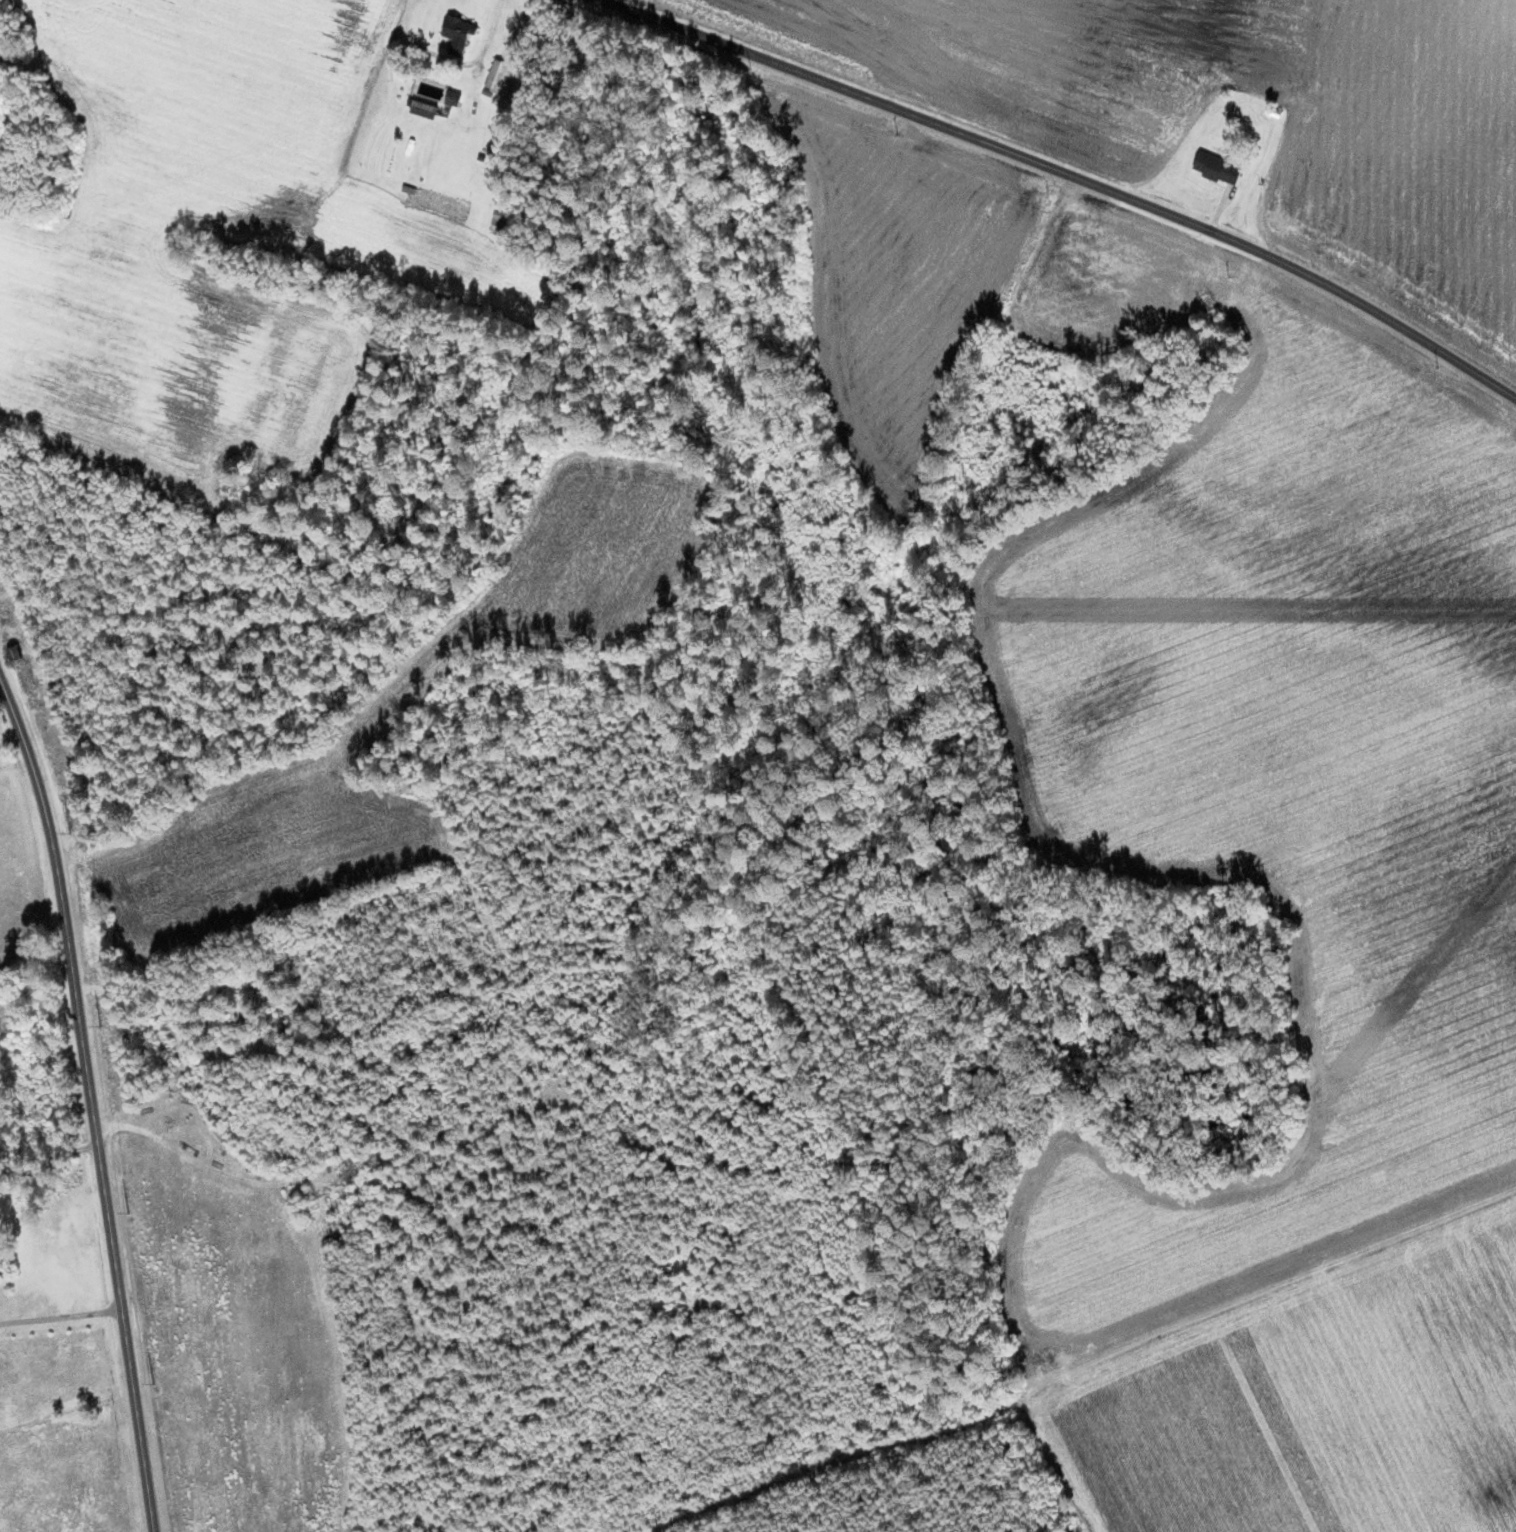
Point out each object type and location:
building: (458, 32)
building: (500, 77)
building: (452, 98)
building: (423, 109)
building: (1216, 168)
road: (1067, 174)
road: (93, 1098)
road: (46, 1164)
road: (1270, 1284)

